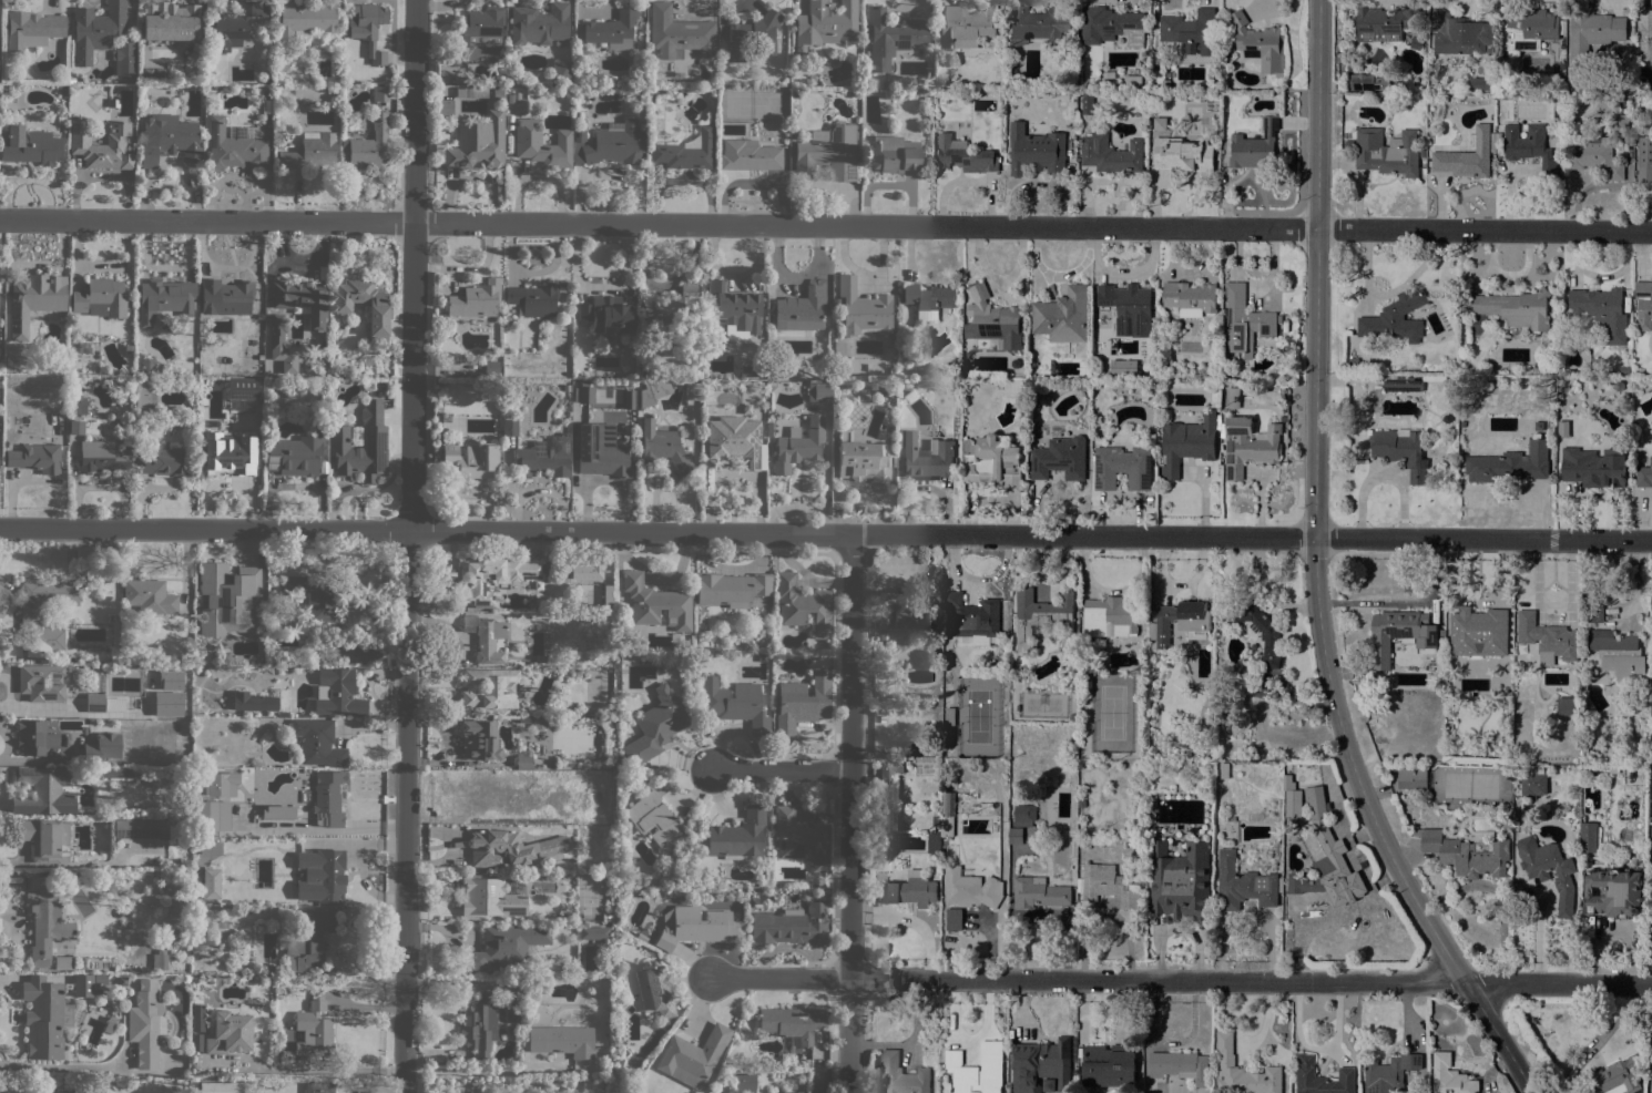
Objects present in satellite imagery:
building: (306, 19)
building: (170, 22)
building: (237, 23)
building: (539, 23)
building: (826, 23)
building: (1384, 23)
building: (1039, 24)
building: (1111, 25)
building: (966, 27)
building: (208, 28)
building: (367, 28)
building: (1529, 28)
building: (32, 29)
building: (96, 29)
building: (612, 30)
building: (1191, 30)
building: (473, 31)
building: (679, 33)
building: (1590, 33)
building: (1461, 34)
building: (890, 37)
building: (753, 38)
building: (1646, 39)
building: (1258, 43)
building: (1417, 43)
building: (123, 58)
building: (152, 71)
building: (558, 73)
building: (1438, 73)
building: (266, 80)
building: (722, 82)
building: (1132, 82)
building: (1482, 82)
building: (800, 83)
building: (1368, 83)
building: (885, 84)
building: (1165, 84)
building: (1399, 88)
building: (1434, 88)
building: (268, 89)
building: (380, 93)
building: (510, 99)
building: (146, 103)
building: (1088, 104)
building: (445, 106)
building: (61, 120)
building: (1160, 123)
building: (1620, 123)
building: (579, 133)
building: (1492, 136)
building: (170, 140)
building: (1498, 142)
building: (613, 143)
building: (1348, 143)
building: (101, 144)
building: (369, 144)
building: (476, 144)
building: (541, 144)
building: (30, 145)
building: (233, 146)
building: (1255, 146)
building: (1531, 147)
building: (310, 151)
building: (686, 151)
building: (828, 151)
building: (1036, 151)
building: (1387, 152)
building: (1111, 154)
building: (748, 155)
building: (895, 155)
building: (965, 155)
building: (1182, 155)
building: (1467, 156)
building: (1594, 156)
building: (1644, 160)
road: (825, 225)
building: (225, 296)
building: (101, 298)
building: (533, 298)
building: (1190, 298)
building: (34, 299)
building: (165, 299)
building: (302, 299)
building: (475, 299)
building: (928, 299)
building: (1643, 304)
building: (736, 307)
building: (803, 308)
building: (1129, 308)
building: (1515, 308)
building: (379, 309)
building: (863, 309)
building: (1602, 310)
building: (672, 314)
building: (605, 316)
building: (1062, 316)
building: (1395, 319)
building: (992, 320)
building: (1245, 321)
building: (277, 333)
building: (838, 348)
building: (145, 361)
building: (1353, 361)
building: (918, 362)
building: (1122, 366)
building: (747, 371)
building: (1185, 379)
building: (1359, 379)
building: (214, 384)
building: (1401, 384)
building: (1618, 386)
building: (1084, 387)
building: (242, 388)
building: (692, 390)
building: (652, 391)
building: (818, 391)
building: (583, 392)
building: (143, 394)
building: (126, 397)
building: (910, 397)
building: (1233, 398)
building: (629, 399)
building: (79, 404)
building: (1446, 418)
building: (1539, 426)
building: (75, 427)
building: (509, 427)
building: (768, 429)
building: (1054, 433)
building: (374, 436)
building: (733, 440)
building: (1186, 442)
building: (798, 445)
building: (1248, 446)
building: (662, 447)
building: (1401, 451)
building: (228, 453)
building: (295, 454)
building: (600, 454)
building: (99, 457)
building: (35, 458)
building: (542, 458)
building: (926, 458)
building: (861, 459)
building: (1059, 459)
building: (471, 460)
building: (163, 461)
building: (893, 461)
building: (992, 462)
building: (1509, 464)
building: (1122, 467)
building: (1592, 468)
building: (1644, 474)
road: (825, 534)
road: (409, 545)
building: (589, 566)
road: (1315, 571)
building: (492, 576)
building: (731, 589)
building: (608, 595)
building: (149, 596)
building: (315, 597)
building: (227, 599)
building: (656, 603)
building: (803, 604)
building: (31, 613)
building: (912, 613)
building: (1594, 613)
building: (1042, 617)
building: (1110, 617)
building: (973, 620)
building: (1180, 622)
building: (1441, 632)
building: (1479, 632)
building: (1400, 634)
building: (1268, 636)
building: (486, 637)
building: (1441, 639)
building: (1547, 639)
building: (1441, 645)
building: (1618, 654)
building: (223, 656)
building: (1013, 678)
building: (41, 681)
building: (489, 687)
building: (336, 693)
building: (104, 703)
building: (256, 703)
building: (802, 703)
building: (734, 704)
building: (1567, 706)
building: (949, 716)
building: (655, 725)
building: (35, 737)
building: (479, 739)
road: (6, 743)
building: (318, 743)
building: (919, 745)
building: (101, 748)
building: (1584, 748)
road: (42, 758)
building: (523, 759)
building: (1180, 766)
road: (784, 770)
building: (1223, 770)
building: (116, 773)
building: (887, 777)
building: (1411, 777)
building: (1287, 782)
building: (221, 783)
building: (1533, 783)
building: (42, 791)
building: (329, 797)
building: (948, 804)
road: (850, 814)
building: (207, 815)
building: (1024, 815)
building: (274, 817)
building: (654, 817)
building: (883, 819)
building: (258, 824)
building: (947, 827)
building: (140, 829)
building: (738, 836)
building: (1016, 836)
building: (1588, 837)
building: (800, 838)
building: (44, 839)
building: (1326, 840)
building: (934, 842)
building: (509, 848)
building: (276, 849)
building: (1466, 854)
building: (1549, 870)
building: (328, 874)
building: (1180, 881)
building: (208, 883)
building: (1242, 885)
building: (1108, 886)
building: (969, 888)
building: (908, 890)
building: (1038, 892)
building: (1613, 892)
building: (491, 897)
building: (567, 909)
building: (606, 918)
building: (47, 919)
building: (791, 926)
building: (695, 927)
building: (593, 932)
building: (641, 937)
building: (308, 940)
building: (504, 946)
building: (172, 951)
building: (159, 960)
building: (63, 962)
building: (268, 968)
building: (100, 978)
building: (122, 981)
road: (1180, 981)
building: (83, 985)
building: (654, 991)
building: (513, 1001)
building: (45, 1017)
building: (792, 1023)
building: (149, 1024)
building: (479, 1024)
road: (1612, 1025)
building: (314, 1028)
building: (196, 1029)
building: (228, 1032)
building: (562, 1040)
building: (692, 1056)
building: (303, 1058)
building: (1040, 1065)
building: (1109, 1065)
building: (1179, 1066)
road: (323, 1068)
building: (977, 1070)
building: (1242, 1072)
building: (1389, 1073)
building: (1651, 1073)
building: (901, 1074)
building: (1320, 1077)
building: (1614, 1079)
building: (1451, 1081)
building: (194, 1082)
building: (744, 1083)
building: (591, 1084)
building: (705, 1085)
building: (1048, 1085)
building: (85, 1087)
building: (220, 1087)
building: (318, 1087)
building: (814, 1091)

